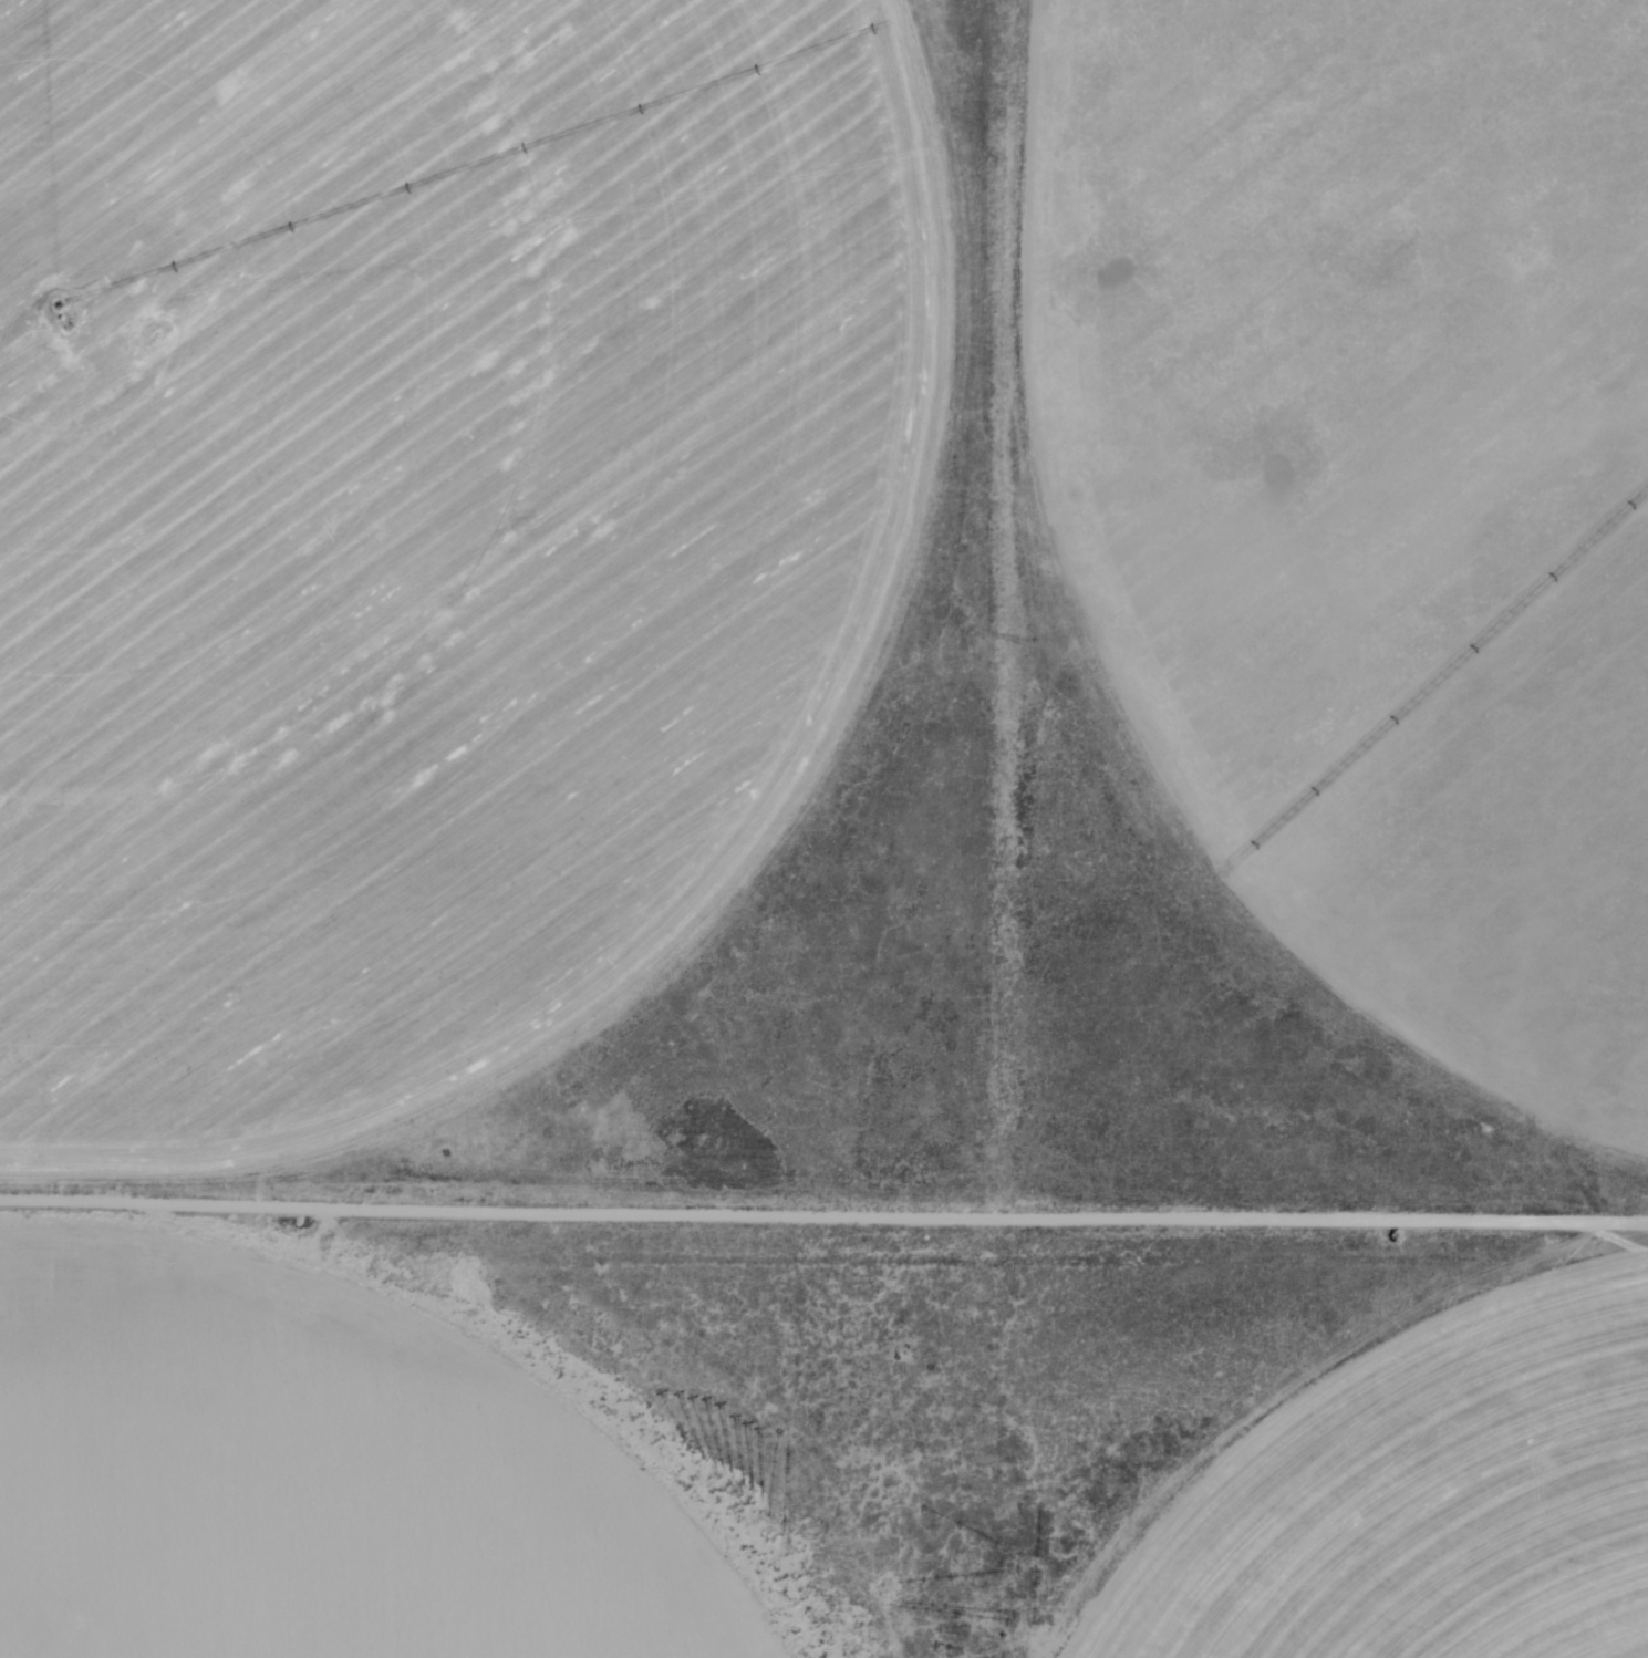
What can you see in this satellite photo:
road: (823, 1220)

